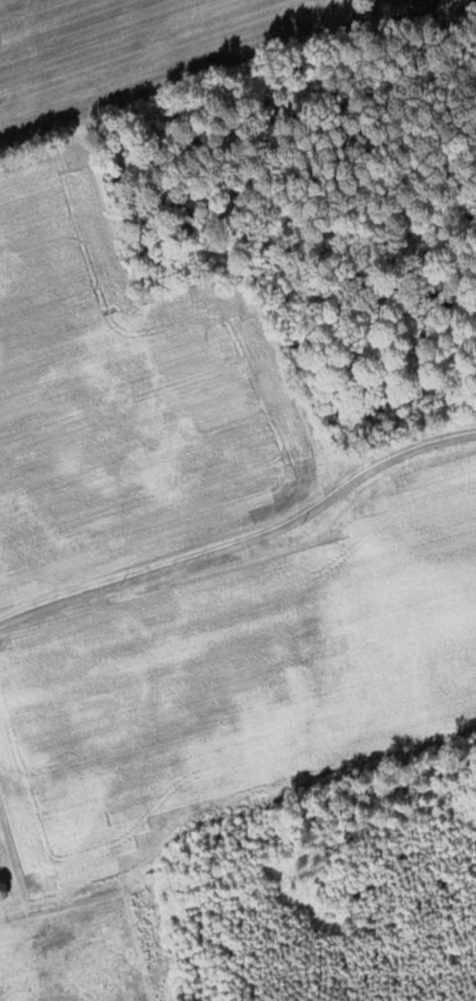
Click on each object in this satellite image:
road: (89, 898)

